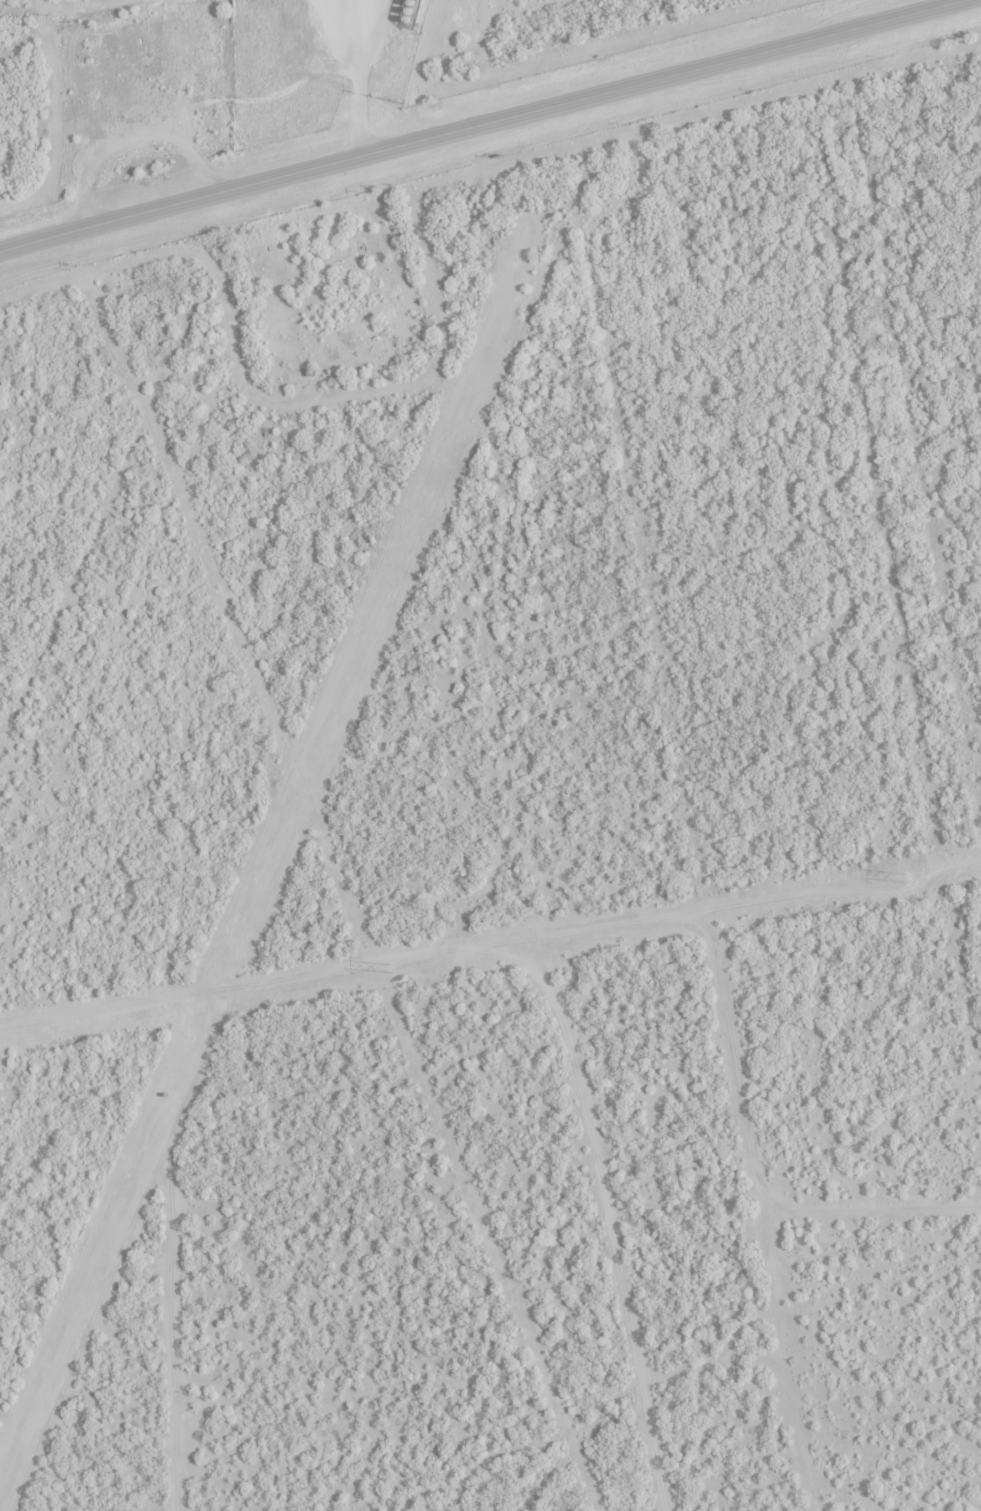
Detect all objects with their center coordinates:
road: (479, 124)
power tower: (906, 878)
power tower: (390, 968)
road: (536, 976)

